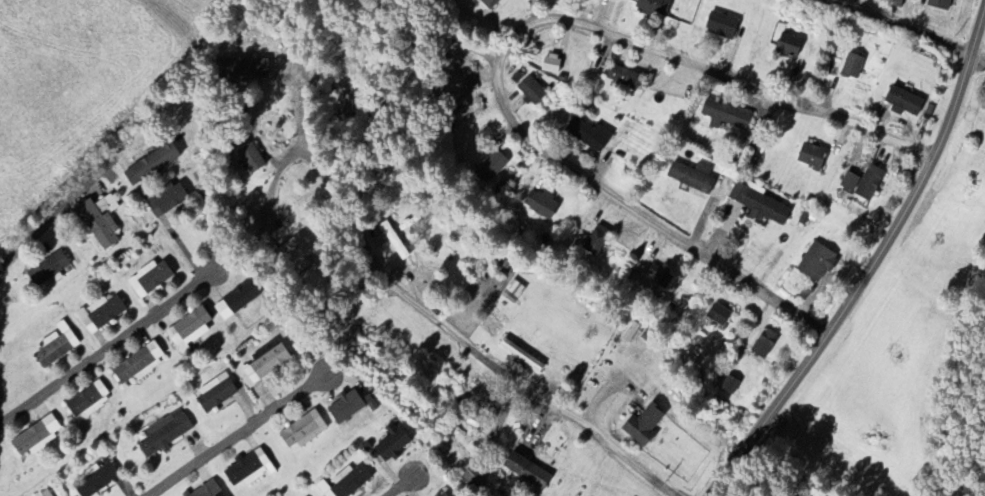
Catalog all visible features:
building: (490, 4)
building: (939, 4)
building: (654, 8)
road: (862, 8)
road: (896, 25)
building: (721, 27)
road: (424, 35)
building: (789, 46)
road: (511, 48)
road: (977, 59)
building: (246, 61)
road: (740, 64)
building: (551, 65)
building: (852, 67)
building: (623, 77)
building: (532, 92)
building: (904, 103)
building: (459, 106)
building: (725, 116)
road: (300, 122)
building: (589, 135)
building: (811, 157)
building: (251, 159)
building: (151, 165)
building: (492, 168)
building: (692, 178)
building: (863, 184)
building: (166, 200)
building: (759, 204)
building: (541, 205)
building: (100, 222)
building: (597, 242)
road: (27, 250)
building: (296, 256)
road: (202, 258)
building: (817, 263)
road: (874, 267)
building: (48, 272)
building: (659, 278)
building: (149, 280)
building: (513, 293)
building: (237, 302)
building: (101, 315)
building: (718, 316)
building: (189, 331)
building: (764, 345)
building: (56, 346)
road: (110, 351)
road: (468, 354)
building: (521, 356)
building: (267, 362)
building: (140, 365)
building: (730, 386)
building: (215, 394)
building: (89, 401)
building: (350, 408)
building: (643, 427)
building: (304, 431)
building: (165, 434)
road: (249, 437)
building: (37, 438)
building: (392, 445)
building: (249, 470)
building: (527, 473)
building: (474, 478)
building: (96, 480)
building: (345, 482)
road: (404, 485)
building: (208, 490)
building: (46, 494)
building: (444, 494)
road: (710, 495)

